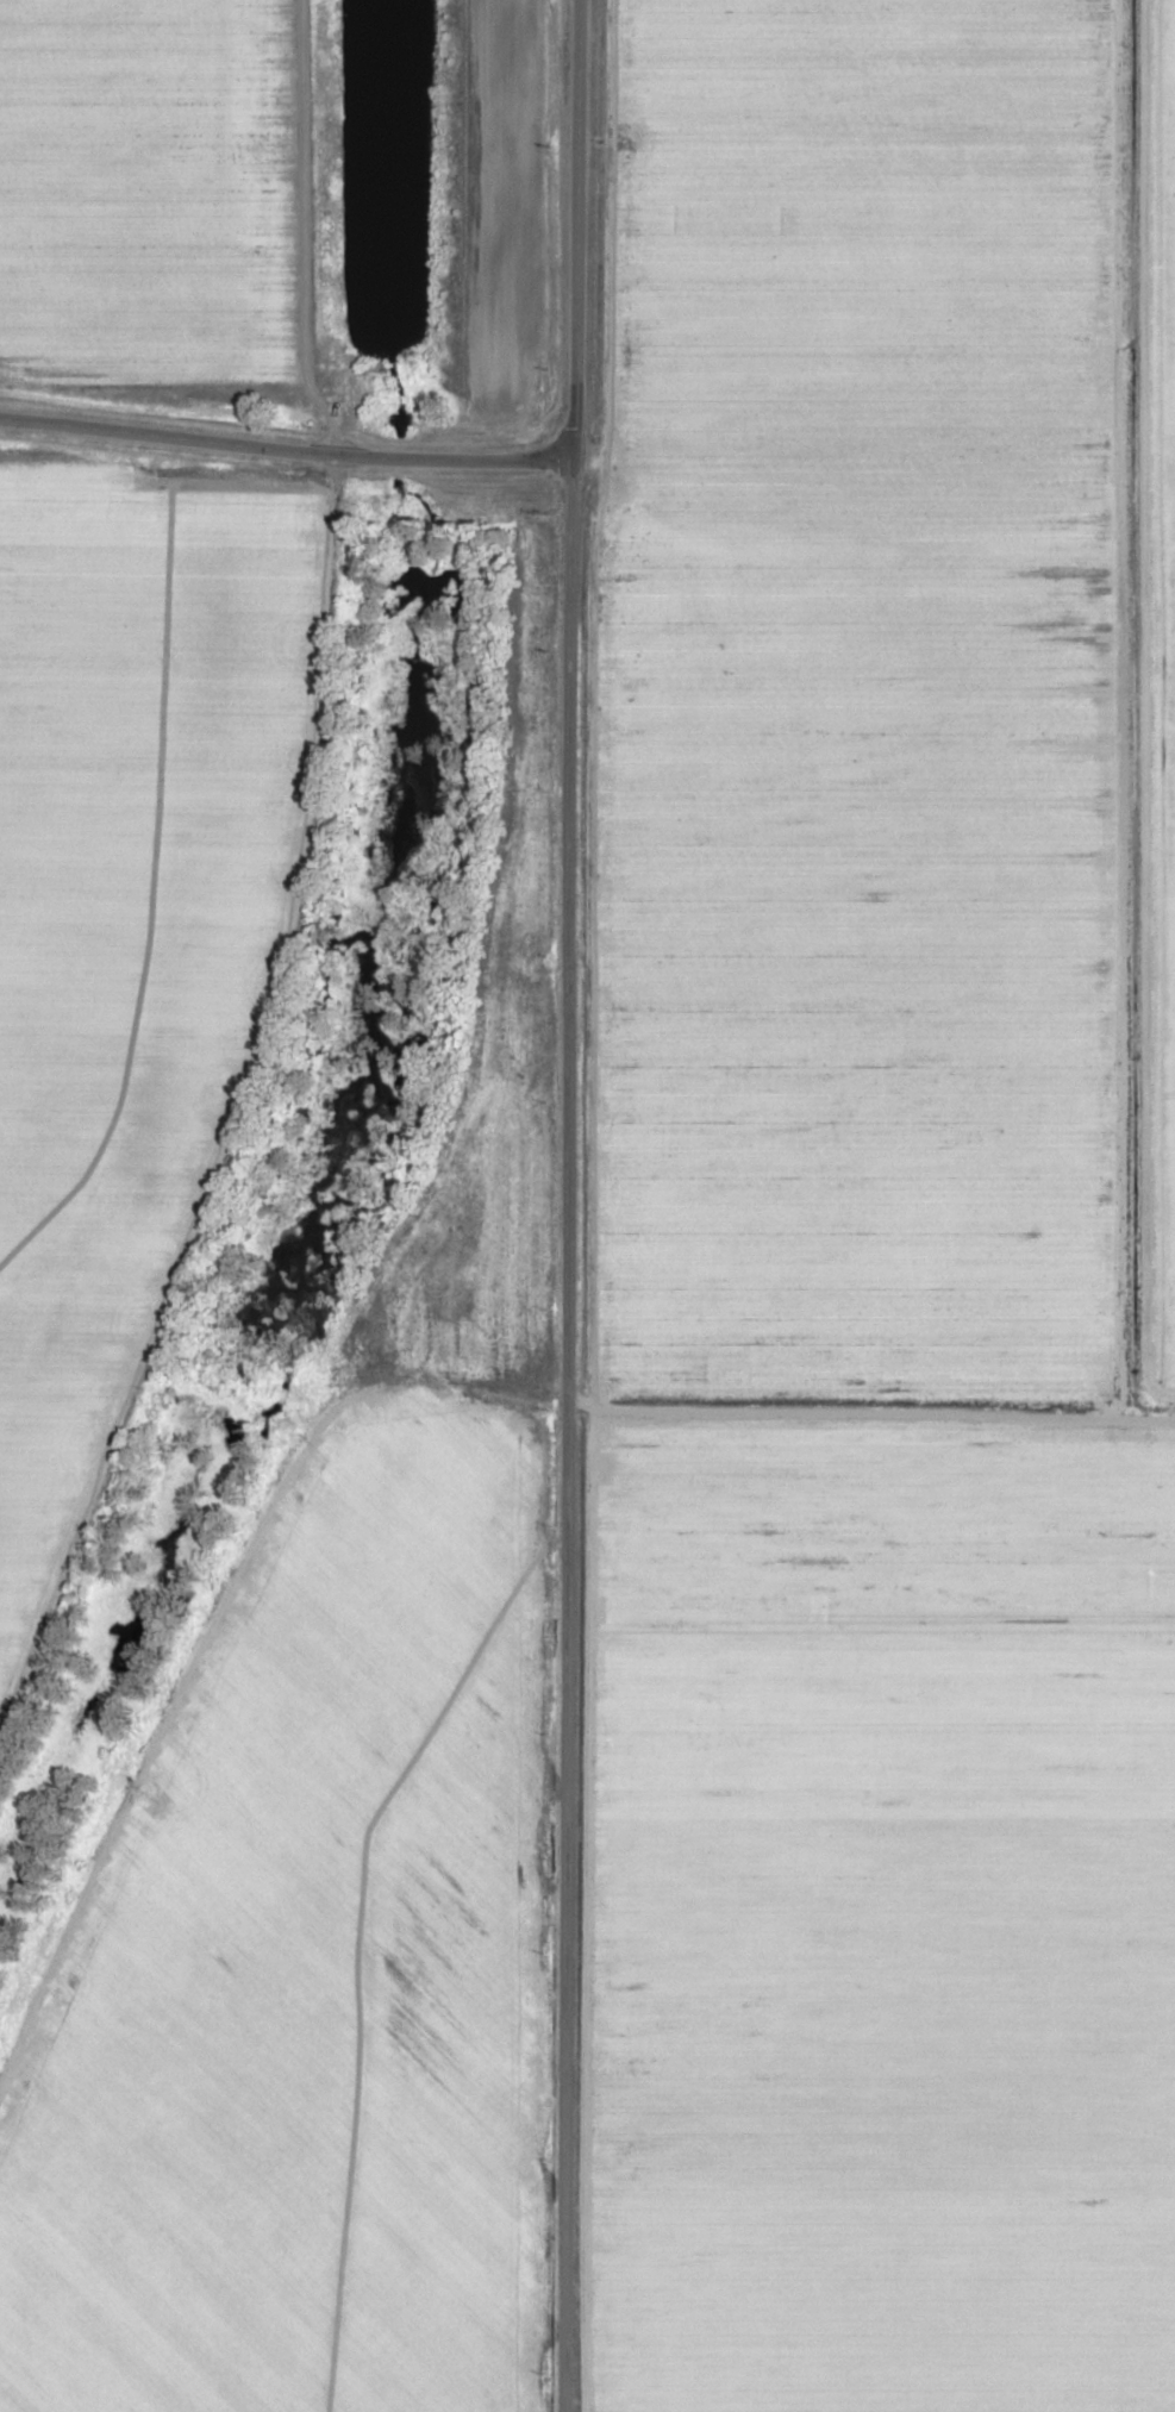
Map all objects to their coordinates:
road: (283, 446)
road: (1156, 465)
road: (842, 539)
road: (1137, 707)
road: (564, 1205)
road: (869, 1420)
building: (37, 2283)
building: (87, 2320)

